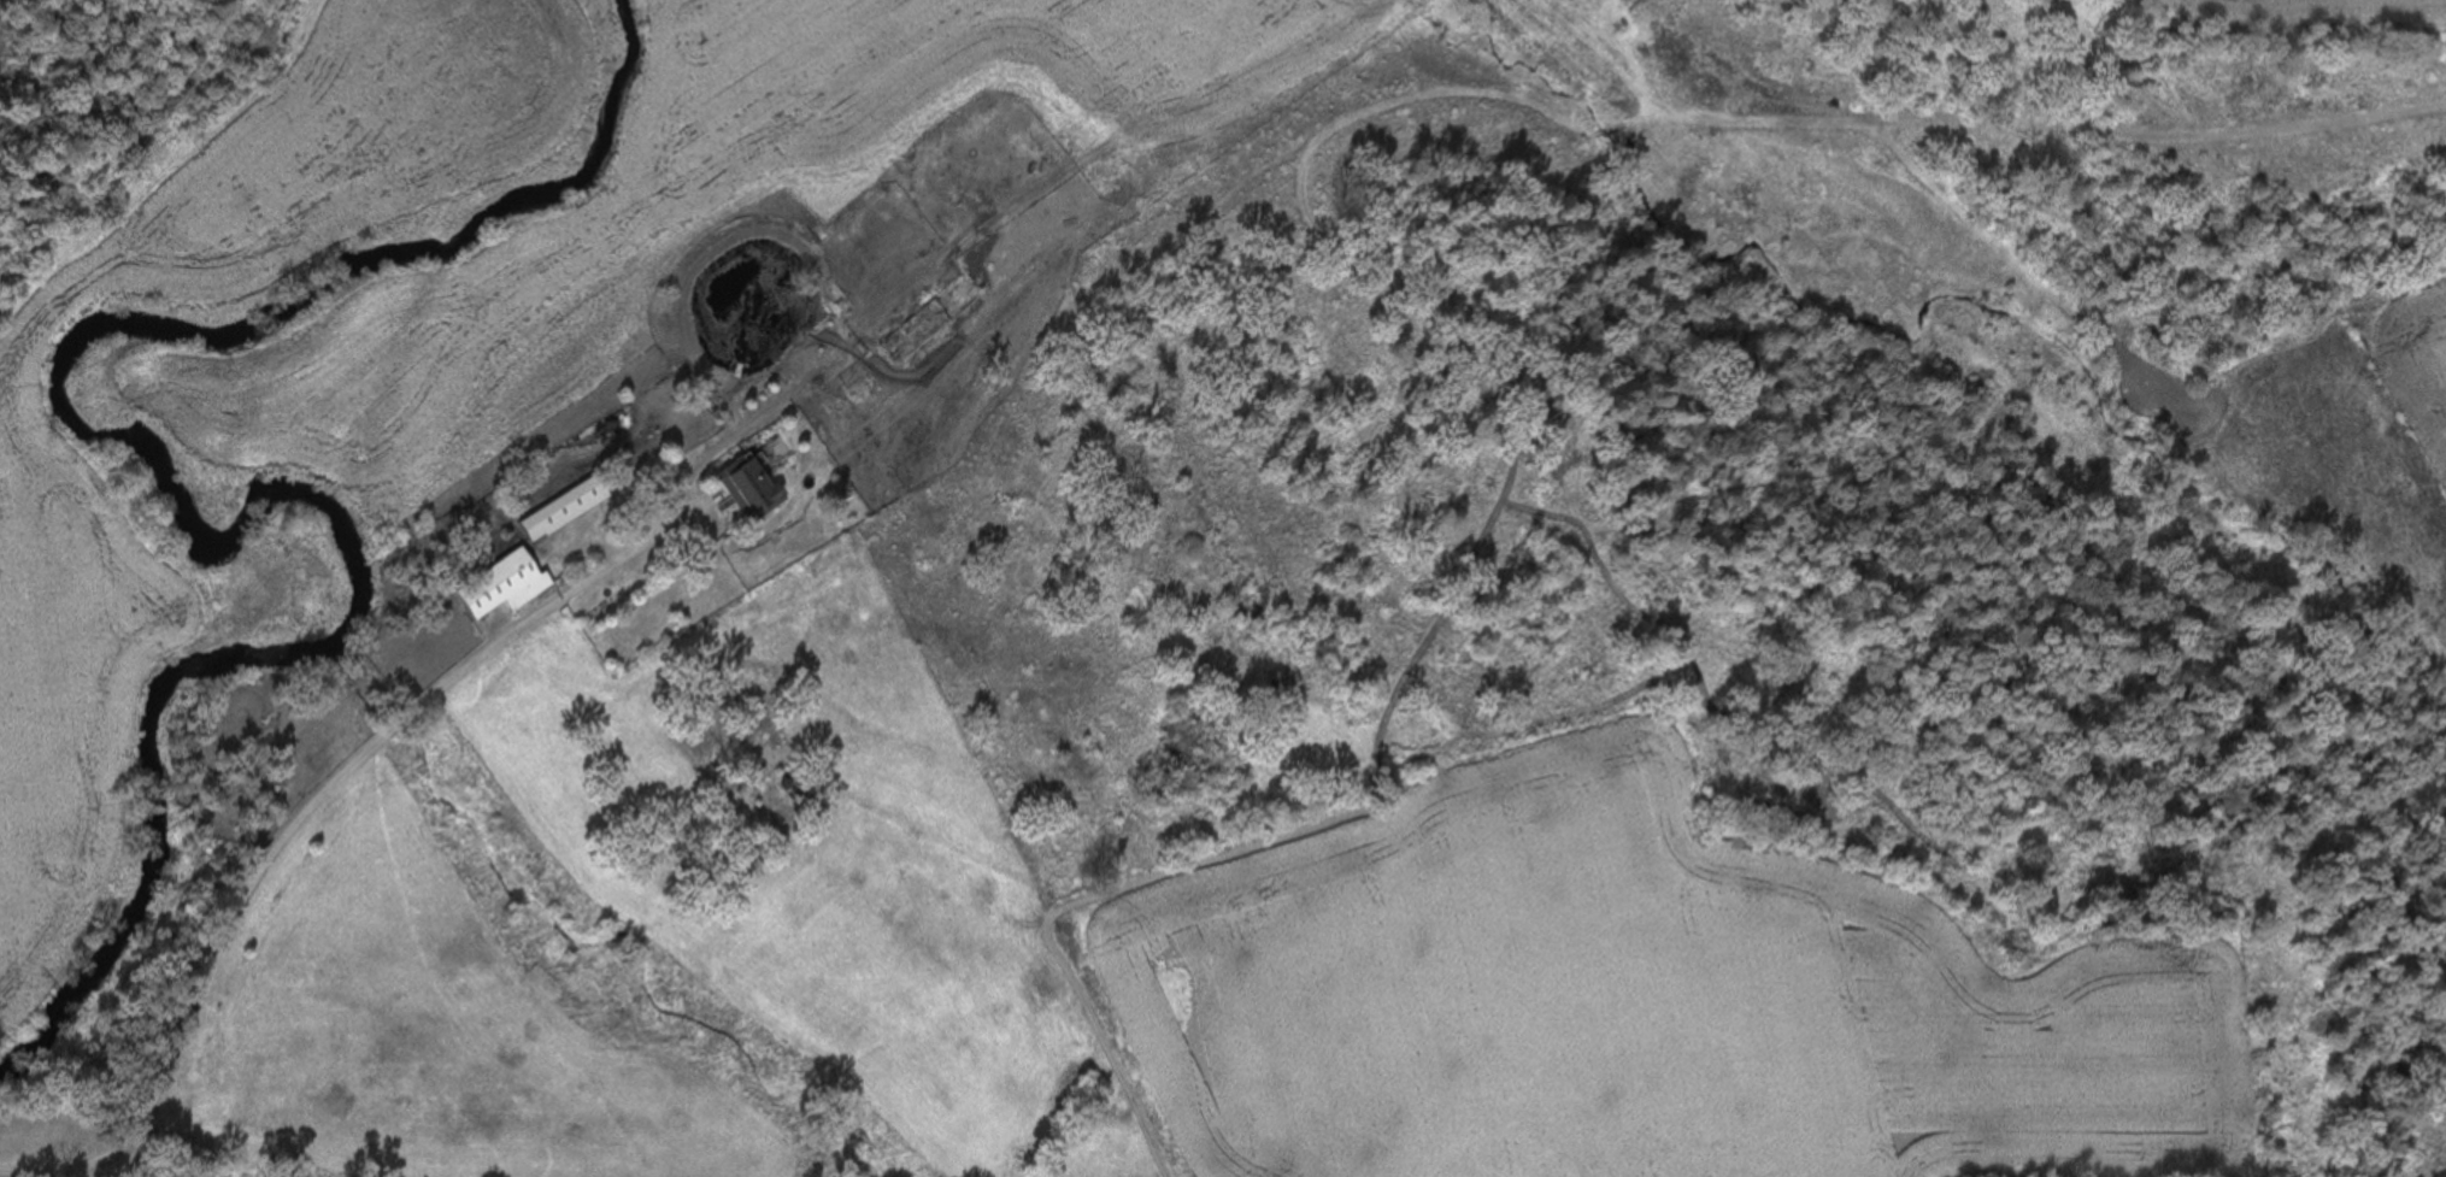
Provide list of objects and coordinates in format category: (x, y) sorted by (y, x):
building: (921, 337)
building: (757, 487)
building: (569, 510)
building: (507, 584)
road: (495, 645)

